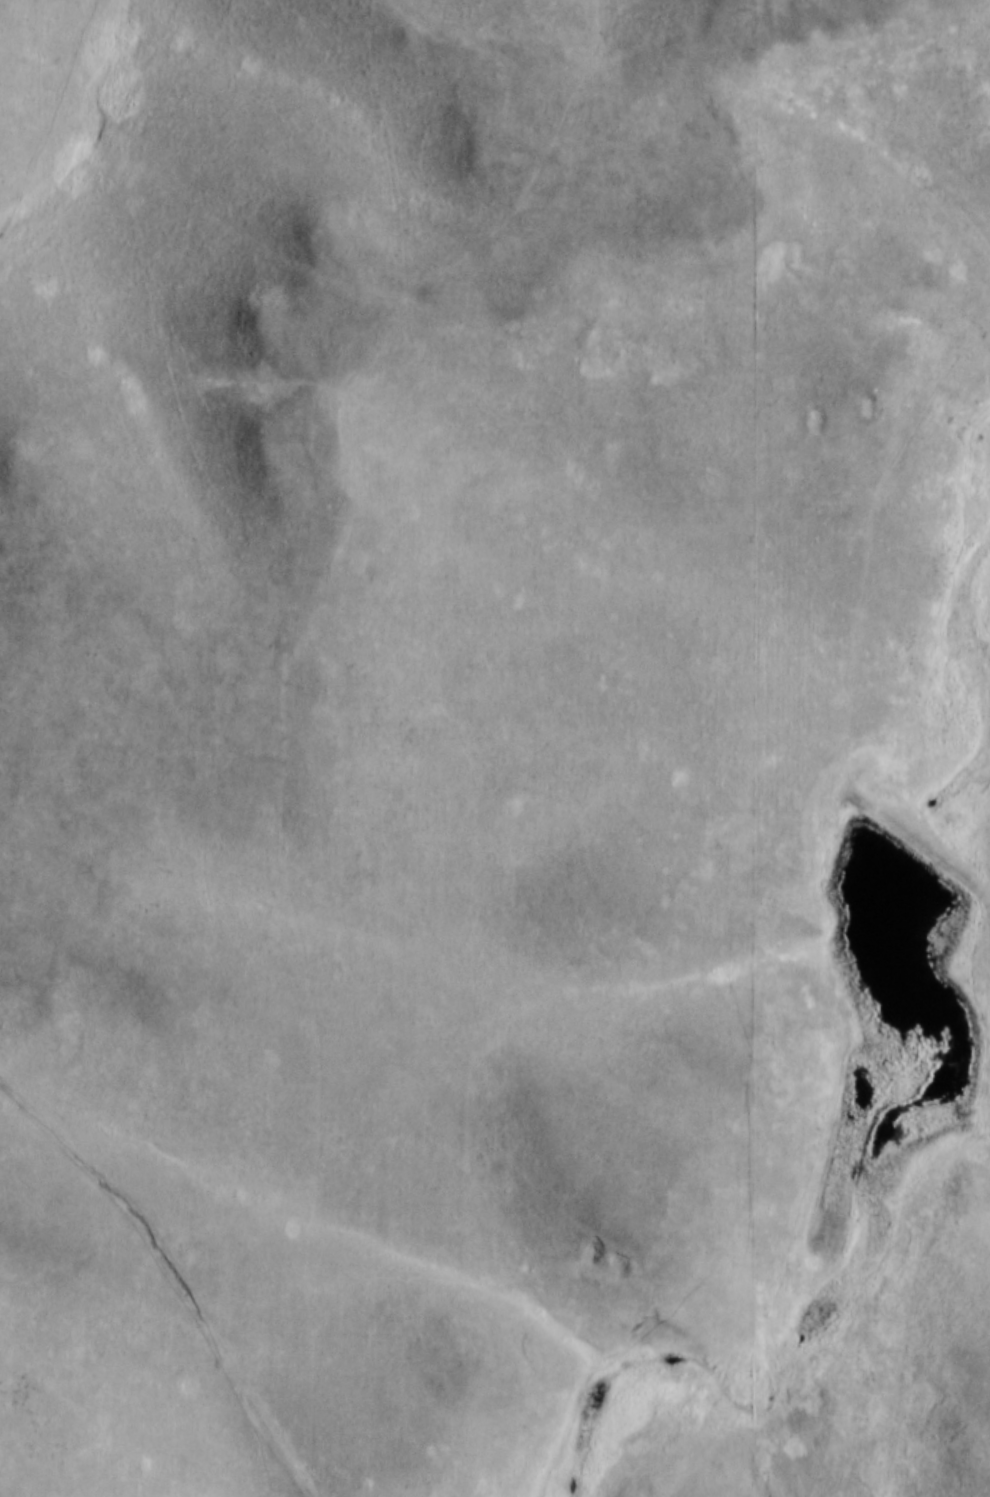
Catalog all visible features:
dam: (909, 835)
road: (892, 1339)

